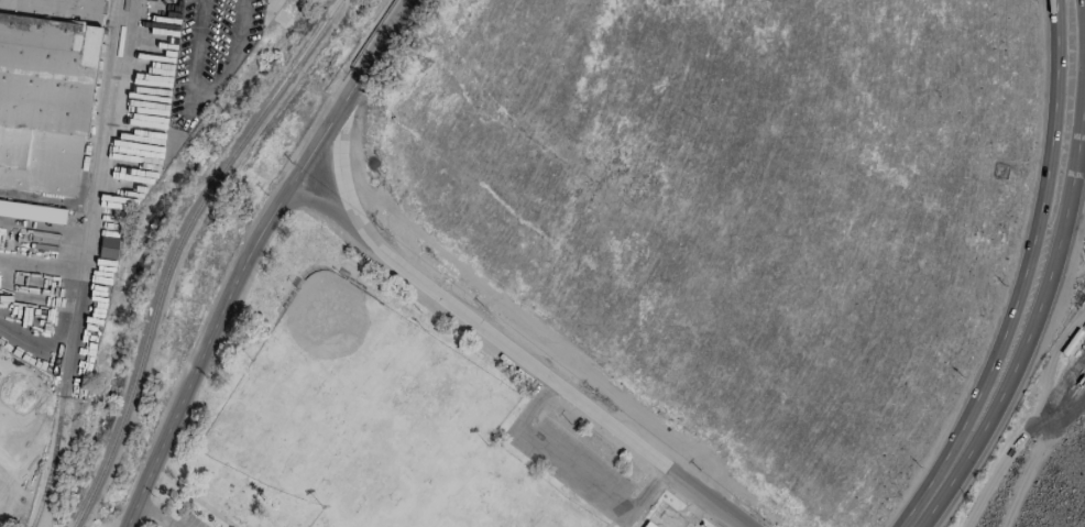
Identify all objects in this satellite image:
railway: (305, 48)
building: (45, 91)
road: (209, 96)
road: (1050, 147)
building: (32, 212)
building: (107, 246)
road: (249, 254)
railway: (80, 264)
road: (35, 268)
railway: (155, 303)
road: (1034, 318)
road: (30, 325)
road: (516, 355)
road: (968, 409)
park: (380, 417)
road: (1029, 418)
park: (368, 431)
parking lot: (574, 469)
road: (573, 470)
landfill: (1049, 474)
road: (6, 493)
road: (690, 510)
road: (151, 515)
parking lot: (185, 519)
road: (909, 525)
building: (647, 526)

